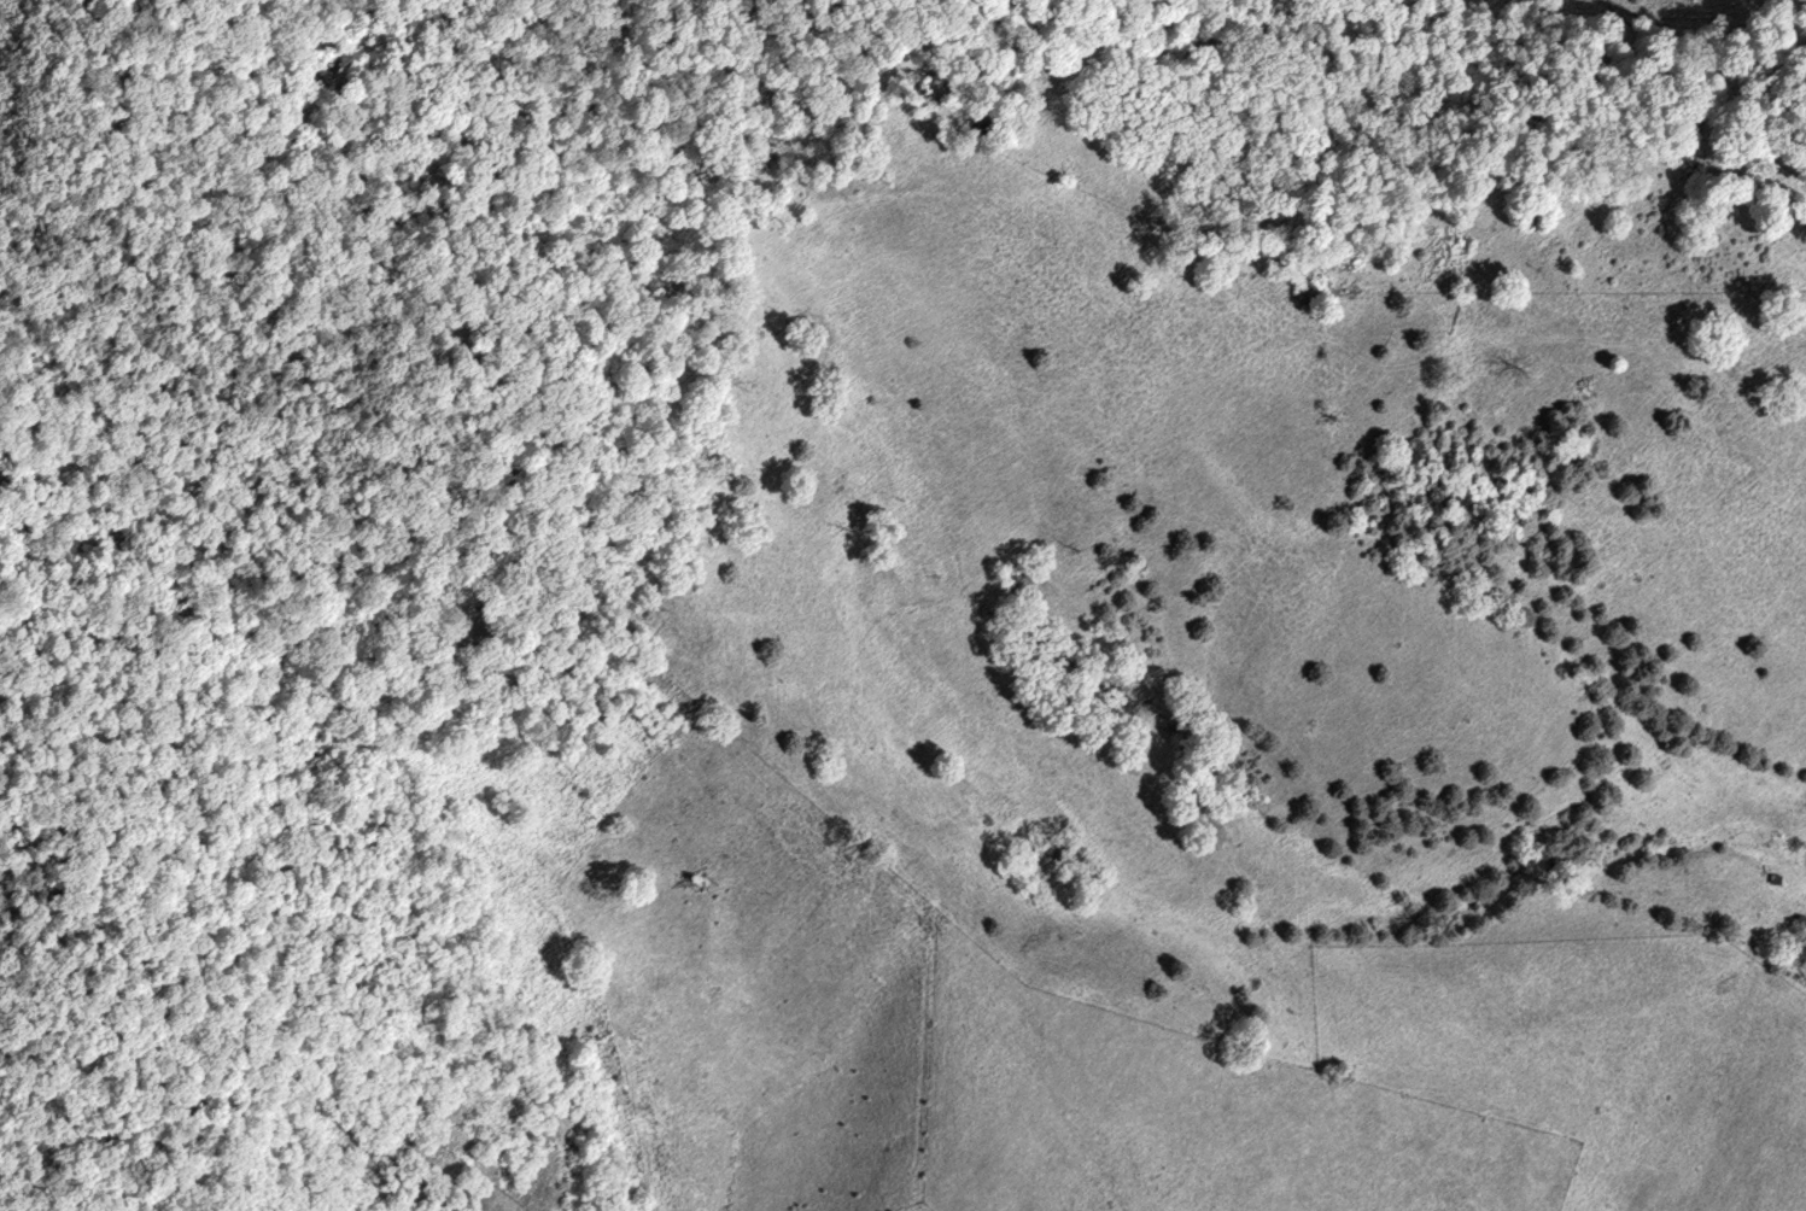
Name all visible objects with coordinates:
building: (1802, 952)

